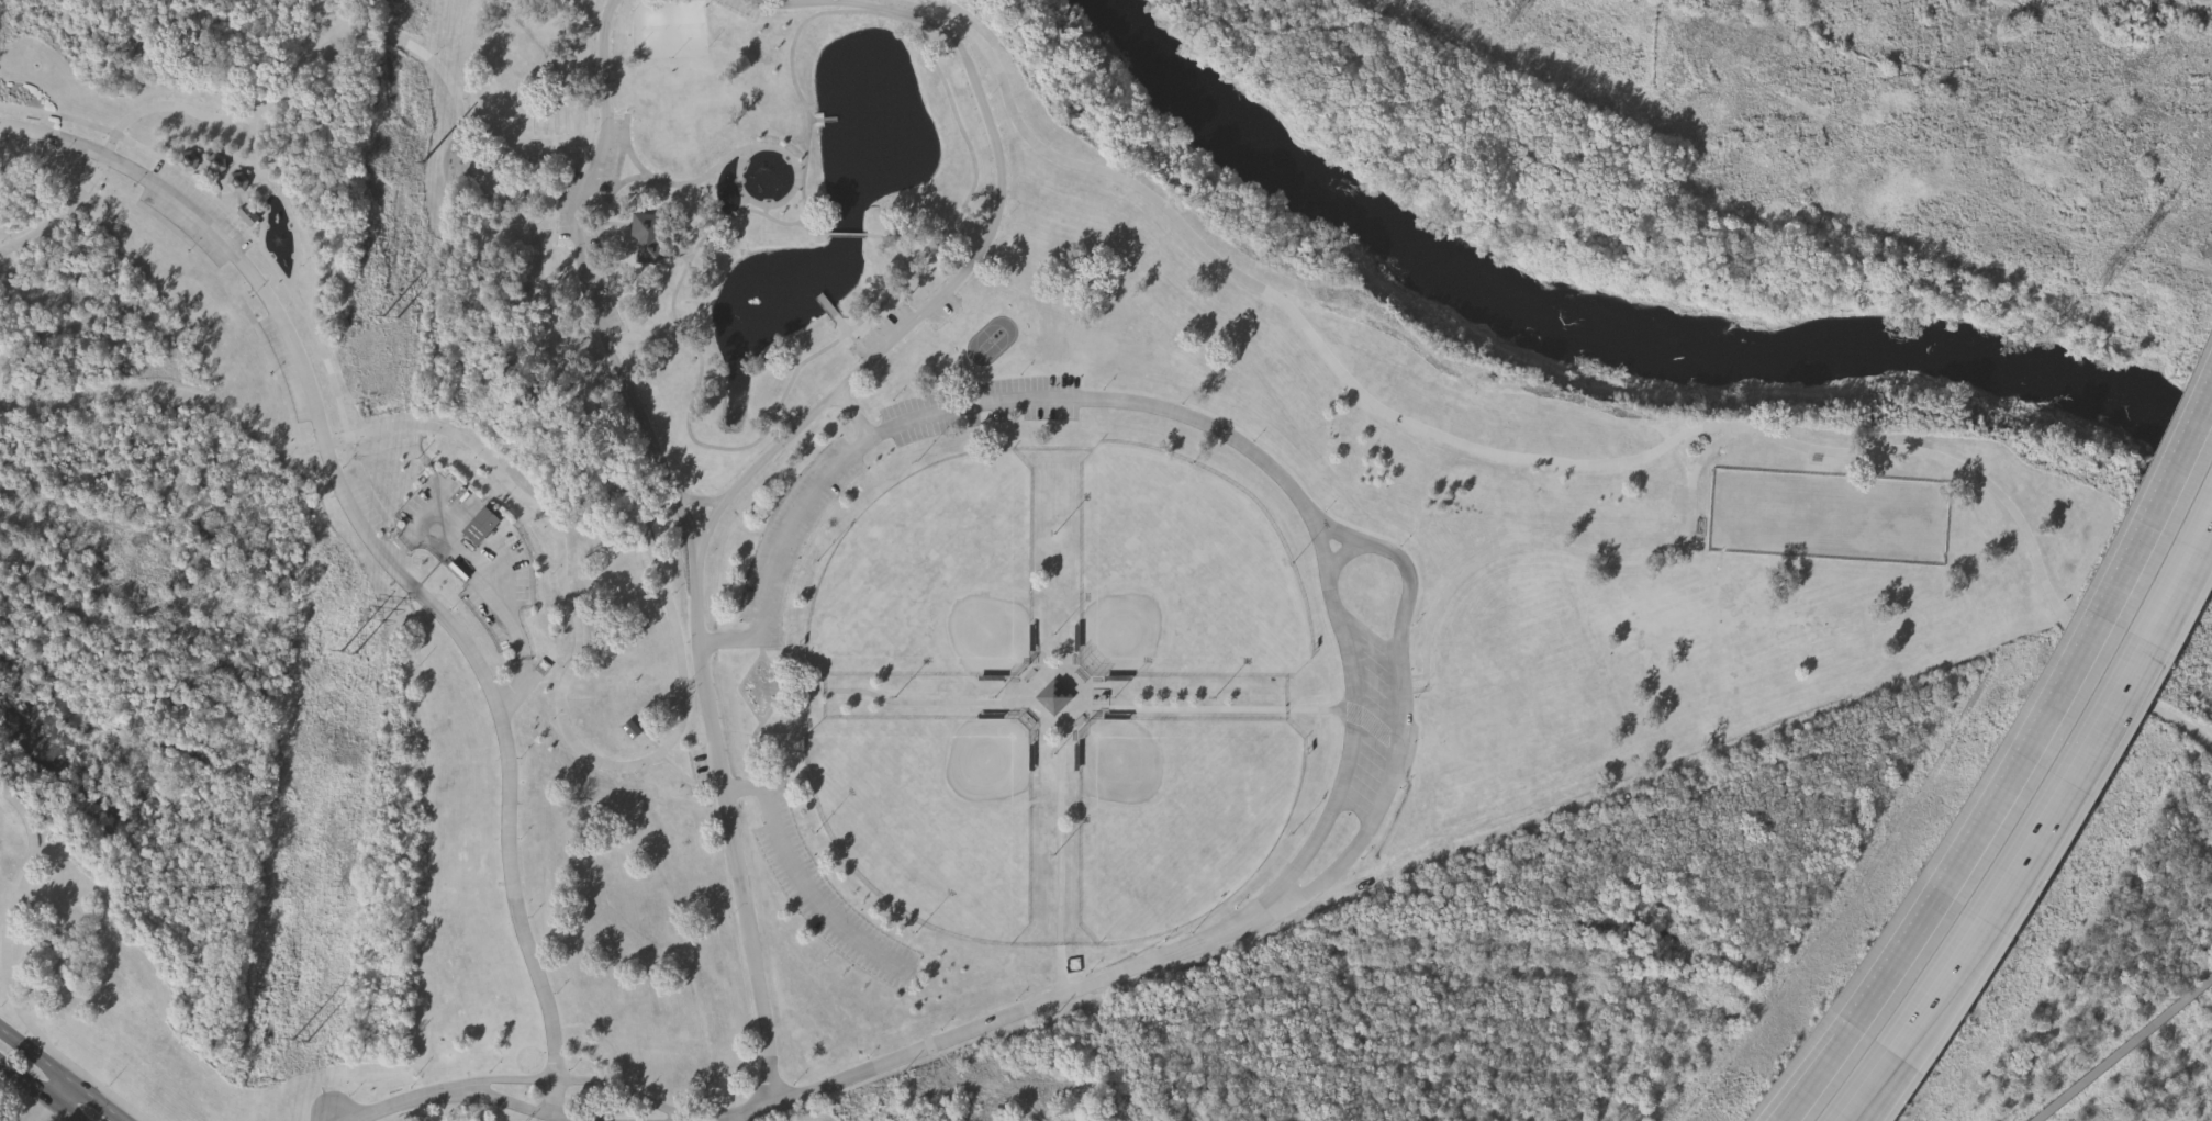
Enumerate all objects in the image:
power tower: (1519, 11)
road: (815, 19)
road: (167, 110)
pier: (823, 122)
parking lot: (611, 159)
building: (221, 169)
building: (769, 184)
parking lot: (570, 210)
building: (253, 220)
road: (811, 233)
road: (847, 237)
building: (651, 240)
road: (984, 244)
road: (896, 250)
power tower: (2115, 277)
road: (584, 284)
road: (1258, 290)
parking lot: (605, 301)
pier: (835, 316)
power tower: (391, 320)
river: (1608, 323)
road: (965, 407)
road: (856, 415)
road: (1712, 448)
road: (701, 503)
road: (2014, 519)
building: (487, 529)
road: (1367, 543)
road: (1565, 548)
park: (812, 552)
road: (1347, 556)
road: (382, 558)
road: (494, 579)
park: (935, 581)
park: (1181, 581)
power tower: (347, 655)
building: (1052, 700)
road: (2048, 727)
building: (633, 731)
road: (643, 765)
park: (934, 818)
park: (1180, 819)
road: (733, 831)
road: (2044, 839)
road: (801, 882)
road: (9, 976)
road: (998, 1021)
power tower: (300, 1044)
road: (2125, 1050)
road: (1833, 1073)
road: (58, 1076)
road: (581, 1084)
road: (38, 1091)
road: (51, 1101)
road: (410, 1103)
road: (507, 1107)

